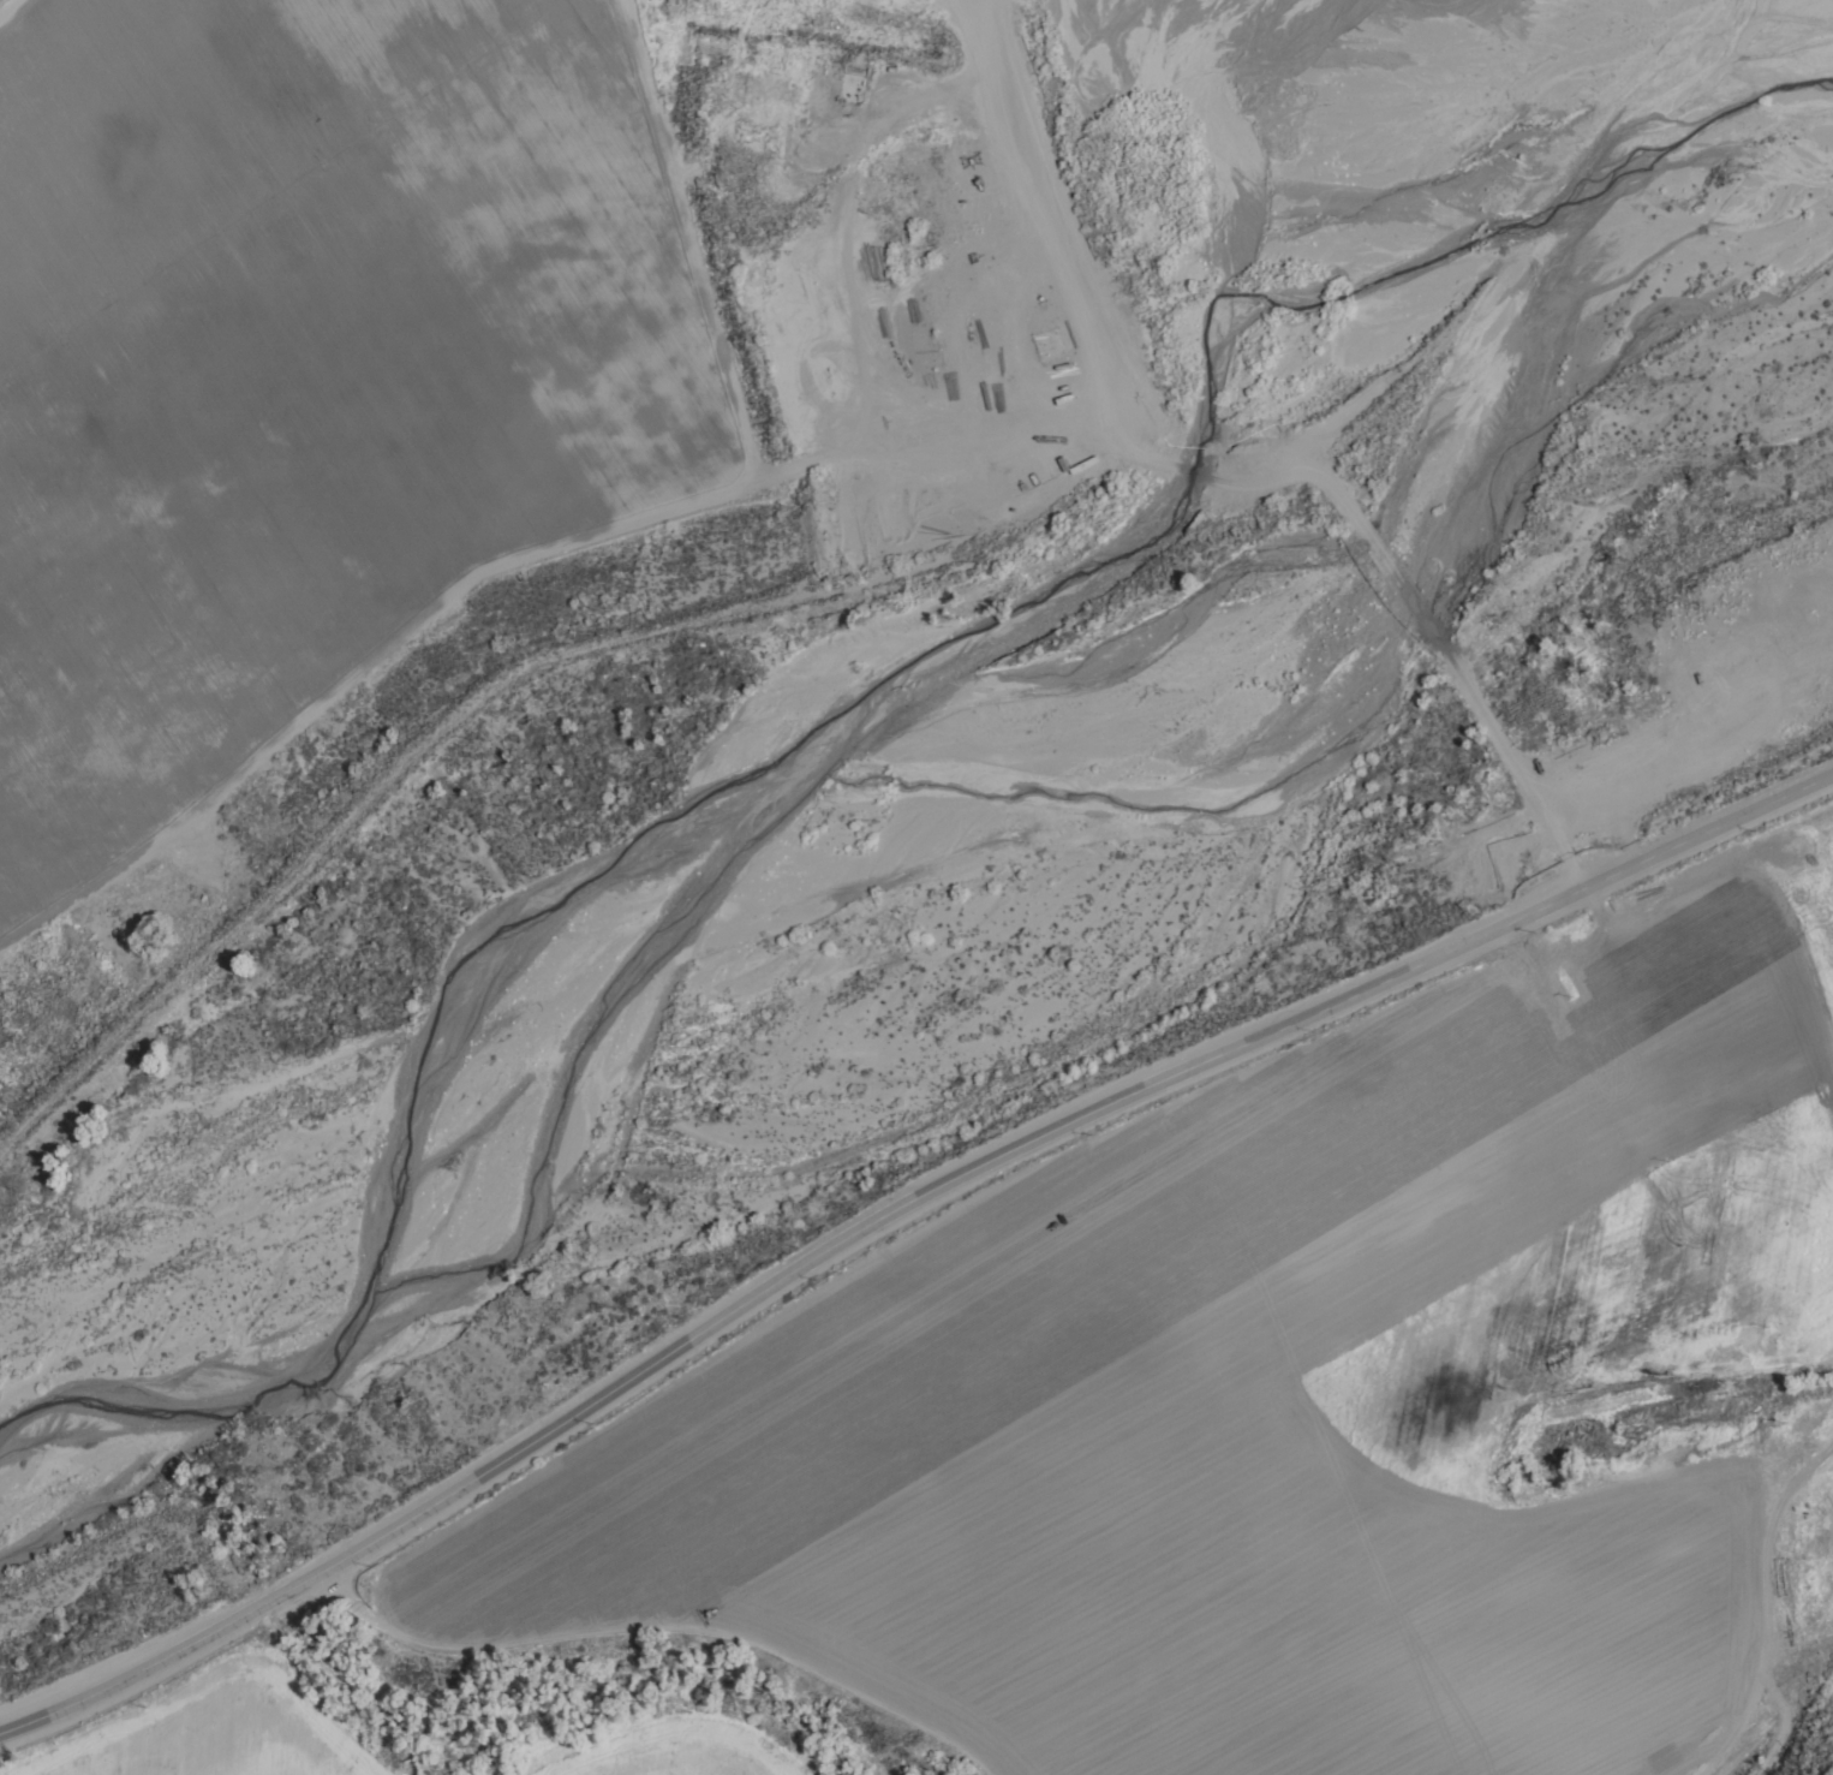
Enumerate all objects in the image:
river: (1002, 758)
road: (894, 1221)

